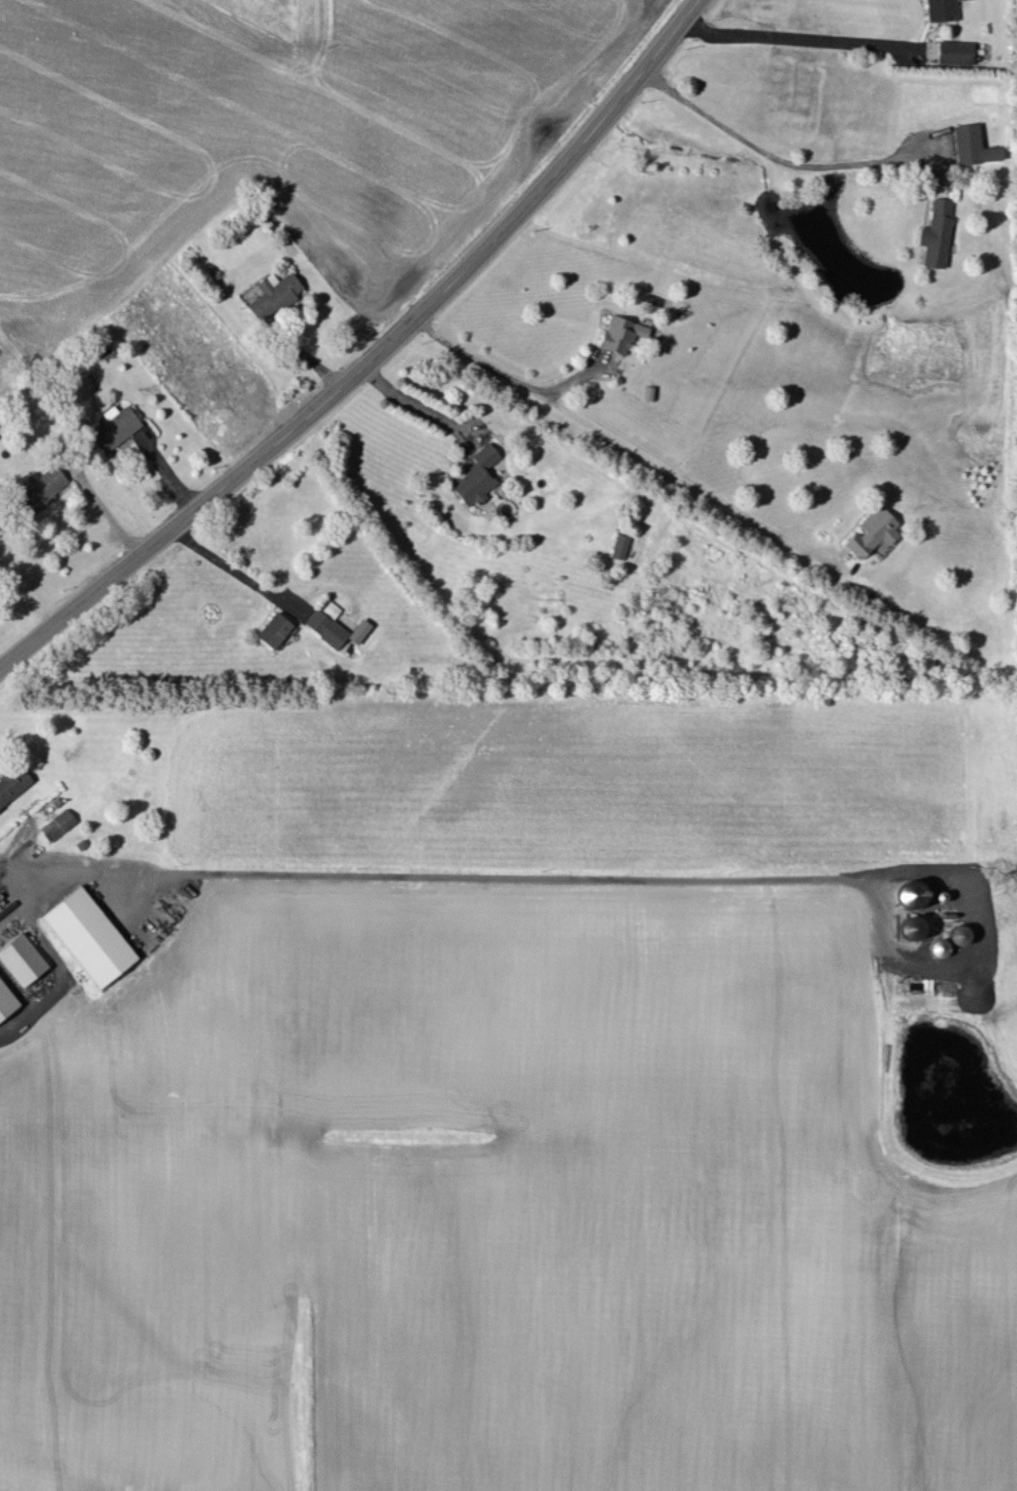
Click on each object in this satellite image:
building: (941, 10)
road: (794, 36)
building: (956, 52)
road: (756, 142)
building: (972, 145)
building: (936, 233)
building: (273, 294)
building: (621, 333)
road: (370, 354)
road: (412, 400)
building: (114, 427)
road: (623, 437)
building: (476, 476)
building: (39, 489)
road: (103, 509)
building: (873, 532)
building: (620, 545)
road: (232, 562)
building: (327, 624)
building: (274, 629)
building: (359, 631)
building: (12, 784)
building: (58, 824)
road: (427, 877)
building: (910, 894)
building: (911, 927)
building: (958, 934)
building: (89, 936)
building: (22, 959)
building: (6, 1000)

